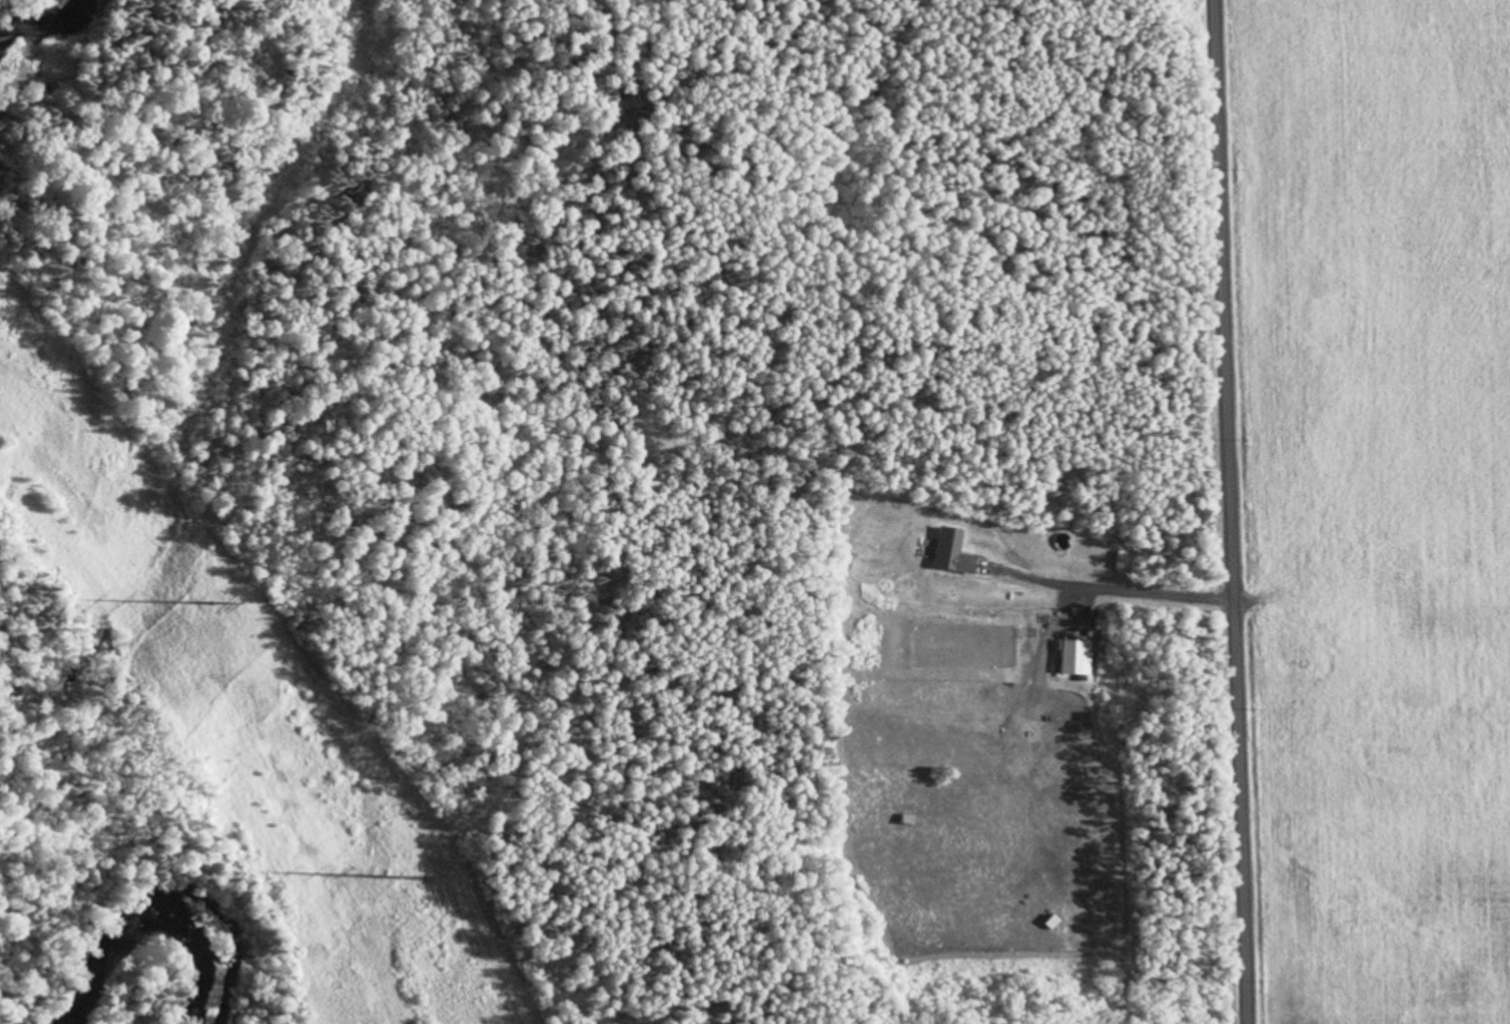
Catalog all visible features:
road: (1234, 511)
building: (953, 555)
power tower: (209, 603)
building: (1074, 660)
power tower: (424, 879)

